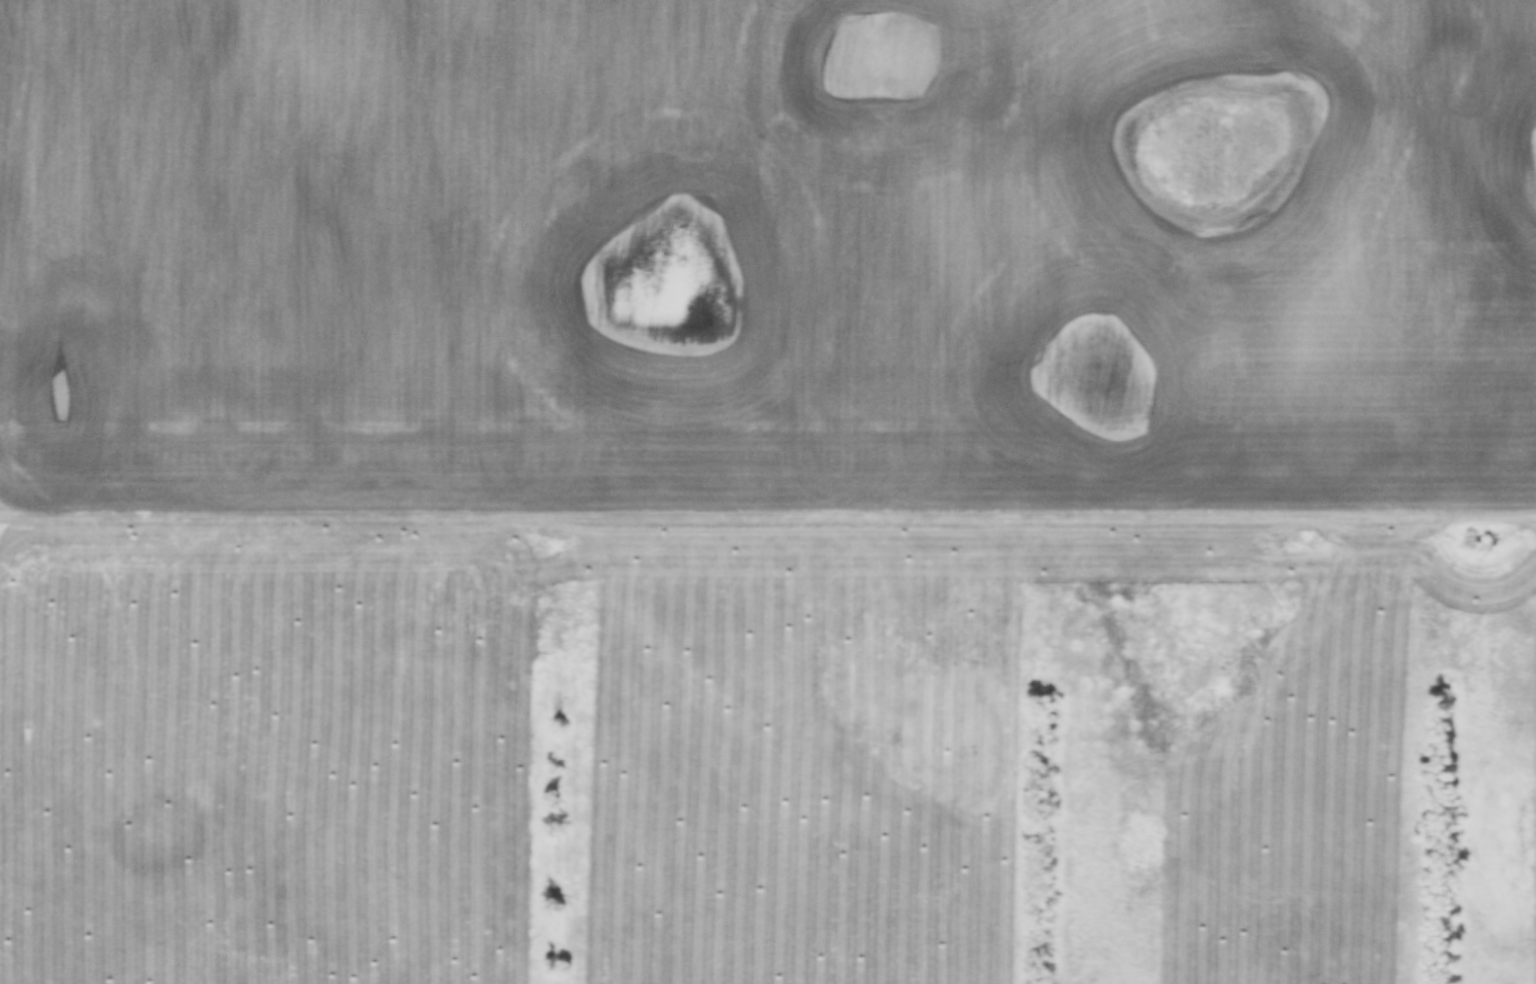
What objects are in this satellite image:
road: (768, 521)

